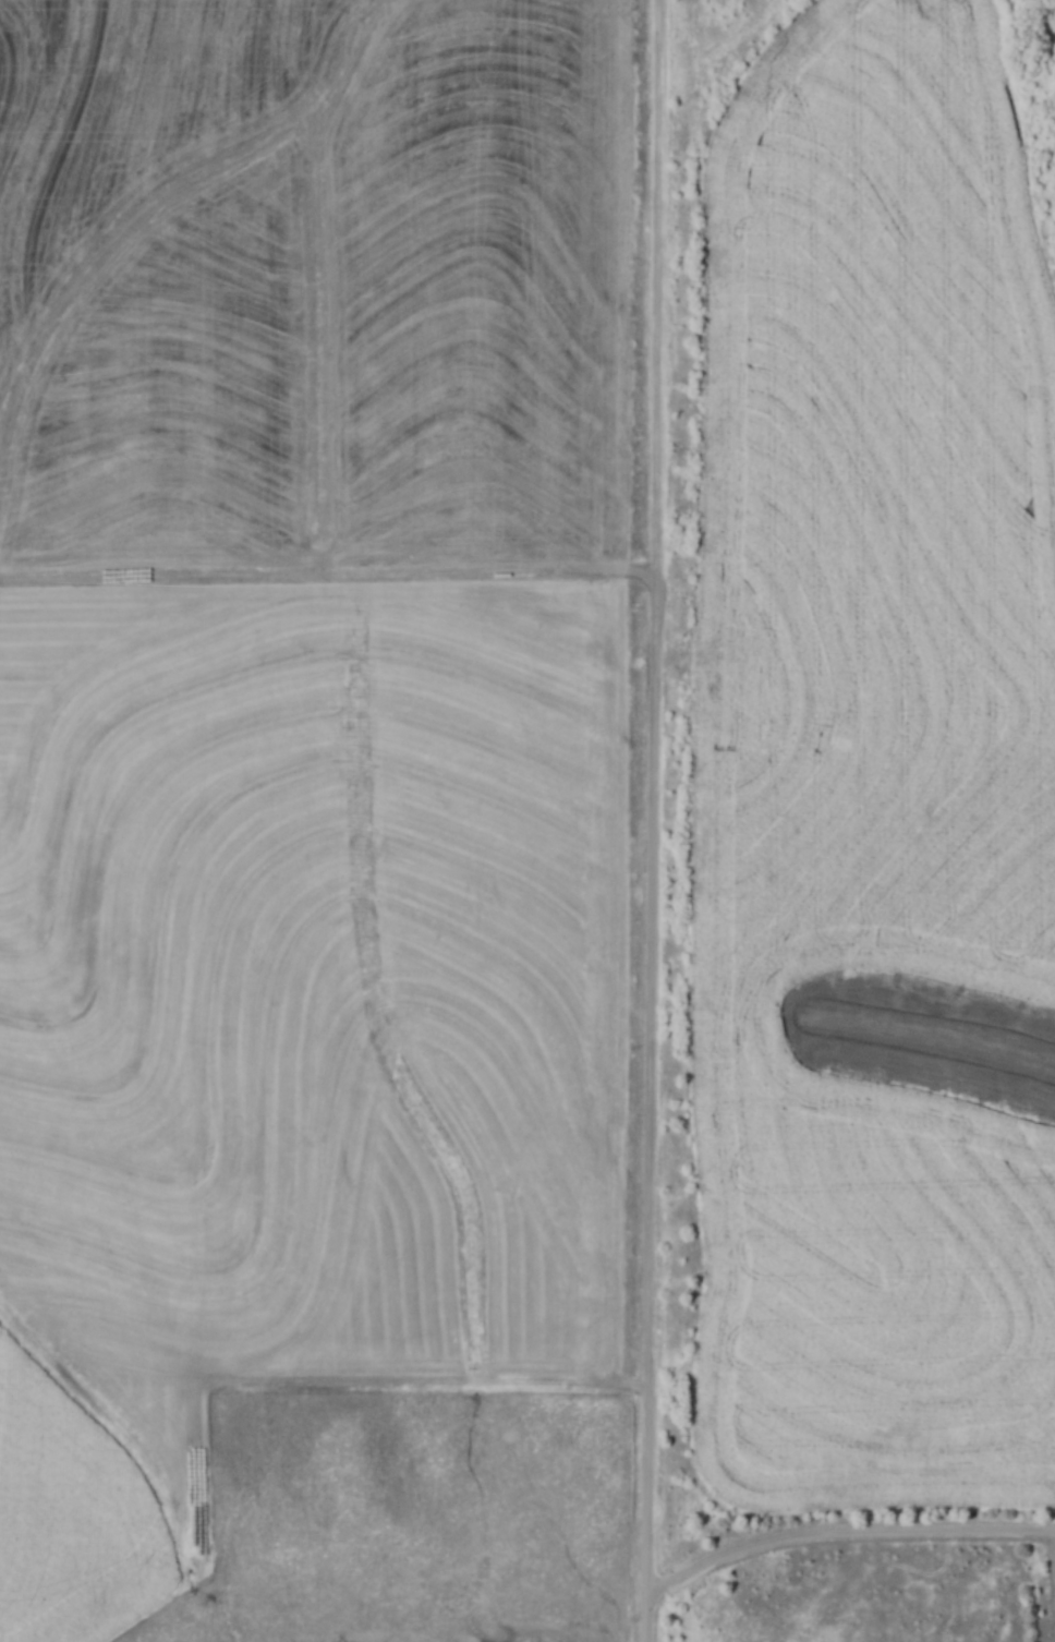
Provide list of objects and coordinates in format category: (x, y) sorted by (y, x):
road: (655, 820)
road: (847, 1538)

